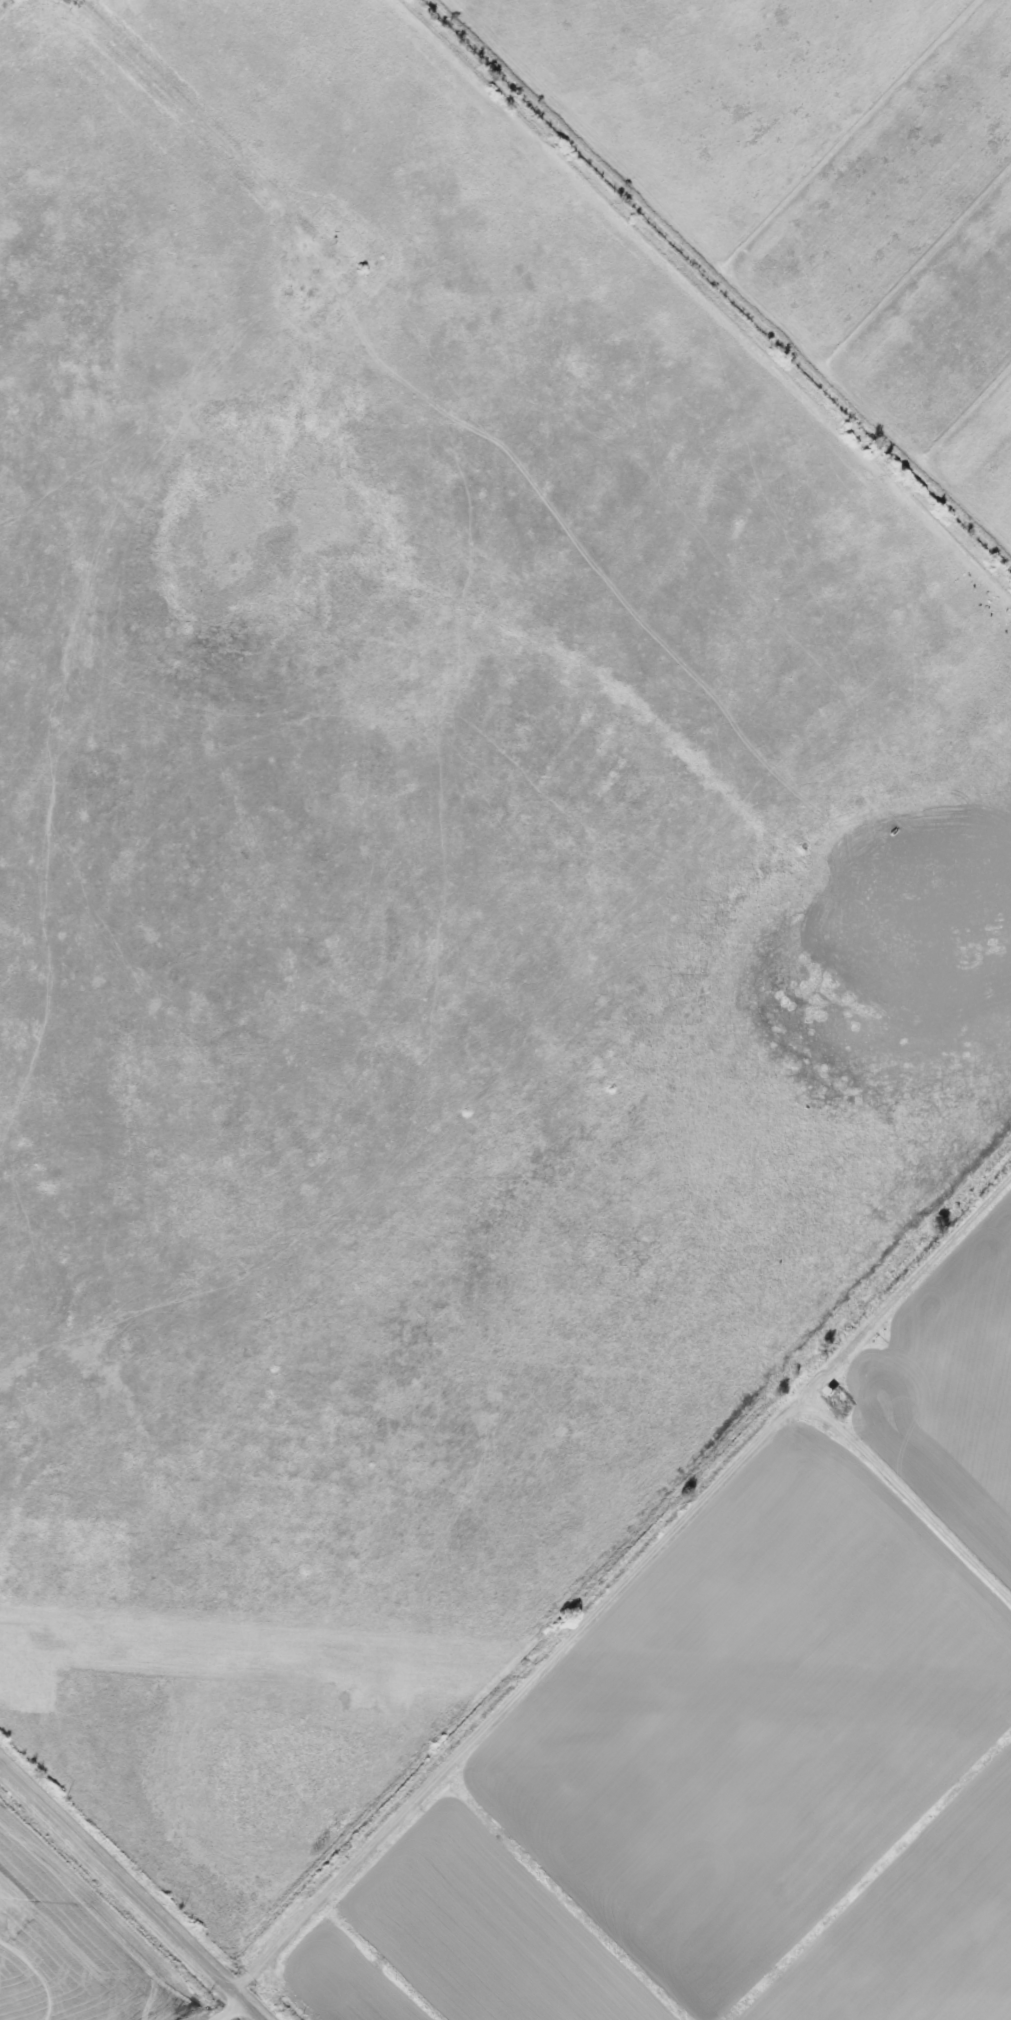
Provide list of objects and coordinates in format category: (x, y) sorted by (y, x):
road: (136, 1890)

